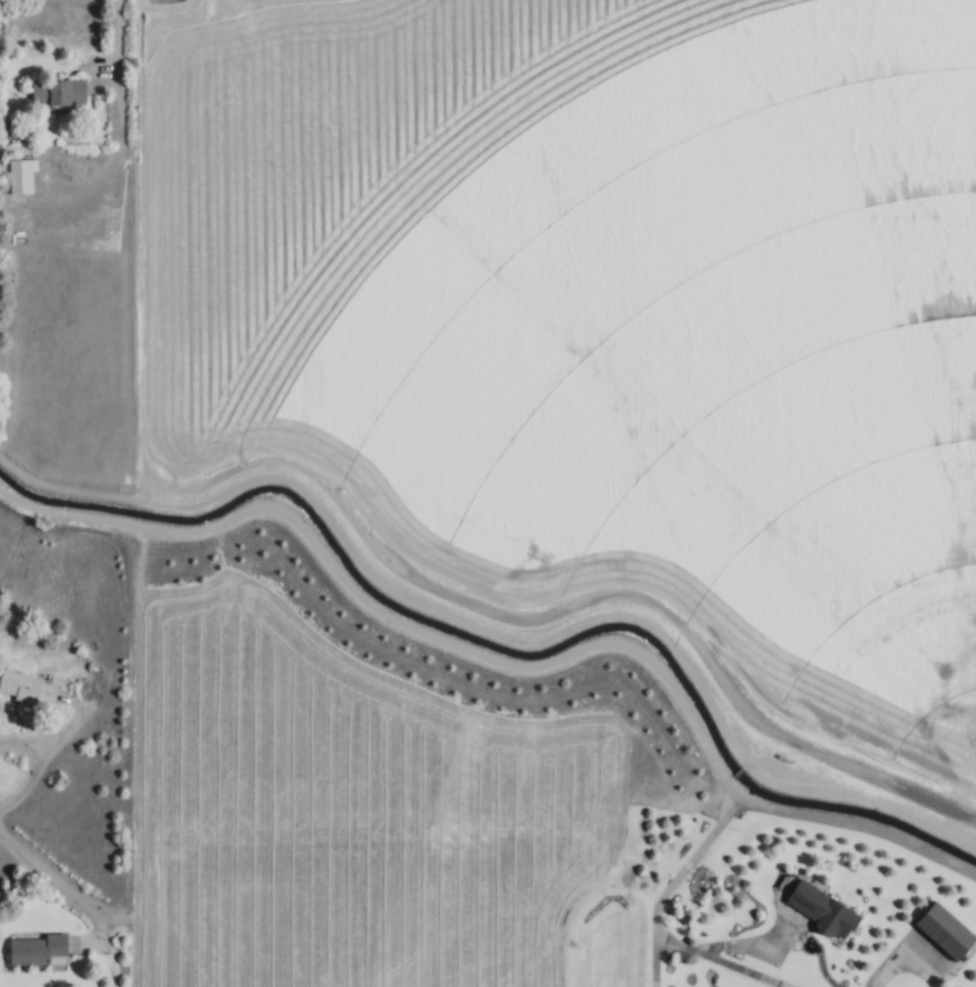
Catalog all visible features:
road: (121, 45)
building: (56, 91)
building: (21, 175)
road: (501, 663)
building: (27, 688)
road: (42, 758)
road: (52, 874)
building: (819, 909)
building: (944, 930)
building: (36, 950)

